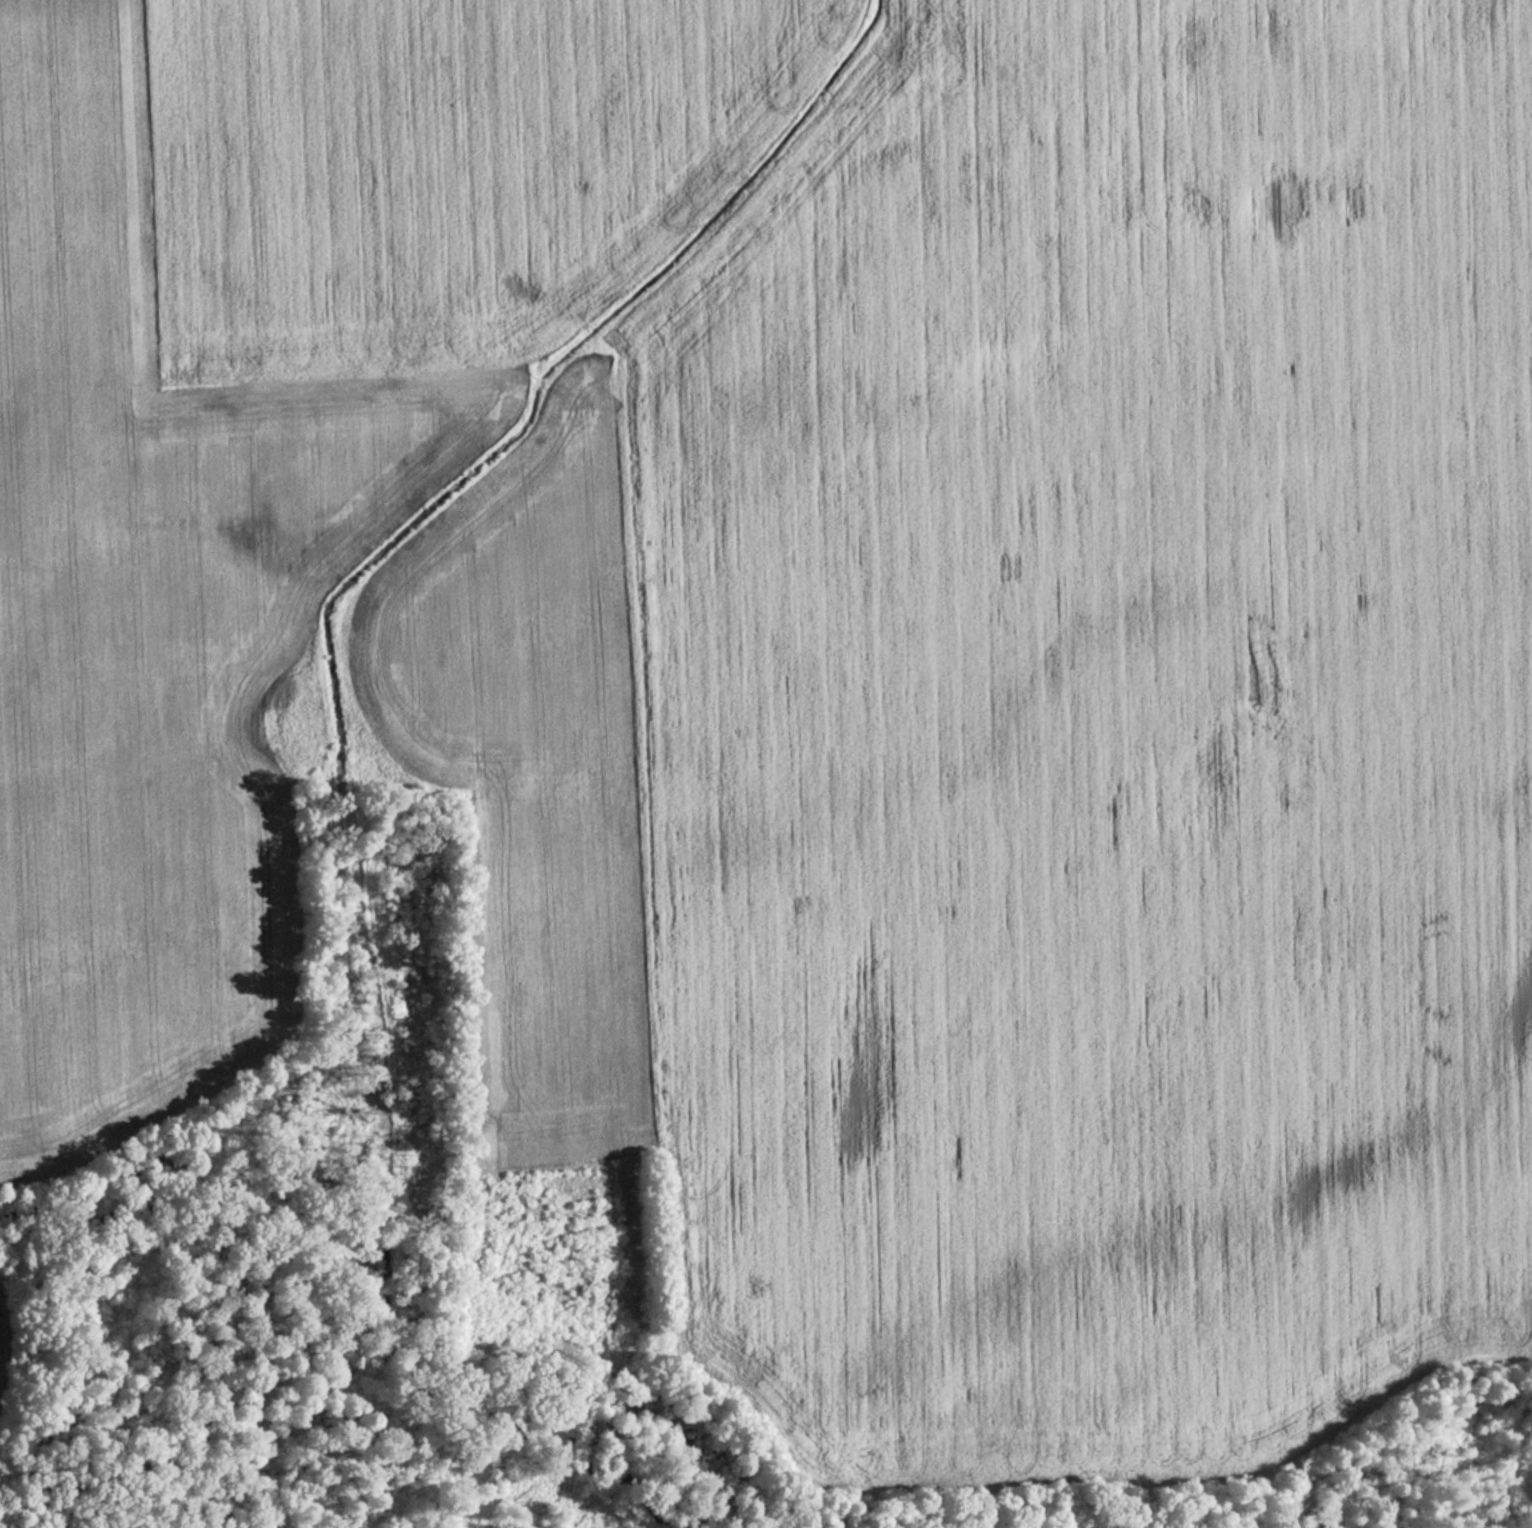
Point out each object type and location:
crop: (429, 169)
crop: (148, 624)
crop: (1097, 754)
crop: (531, 795)

